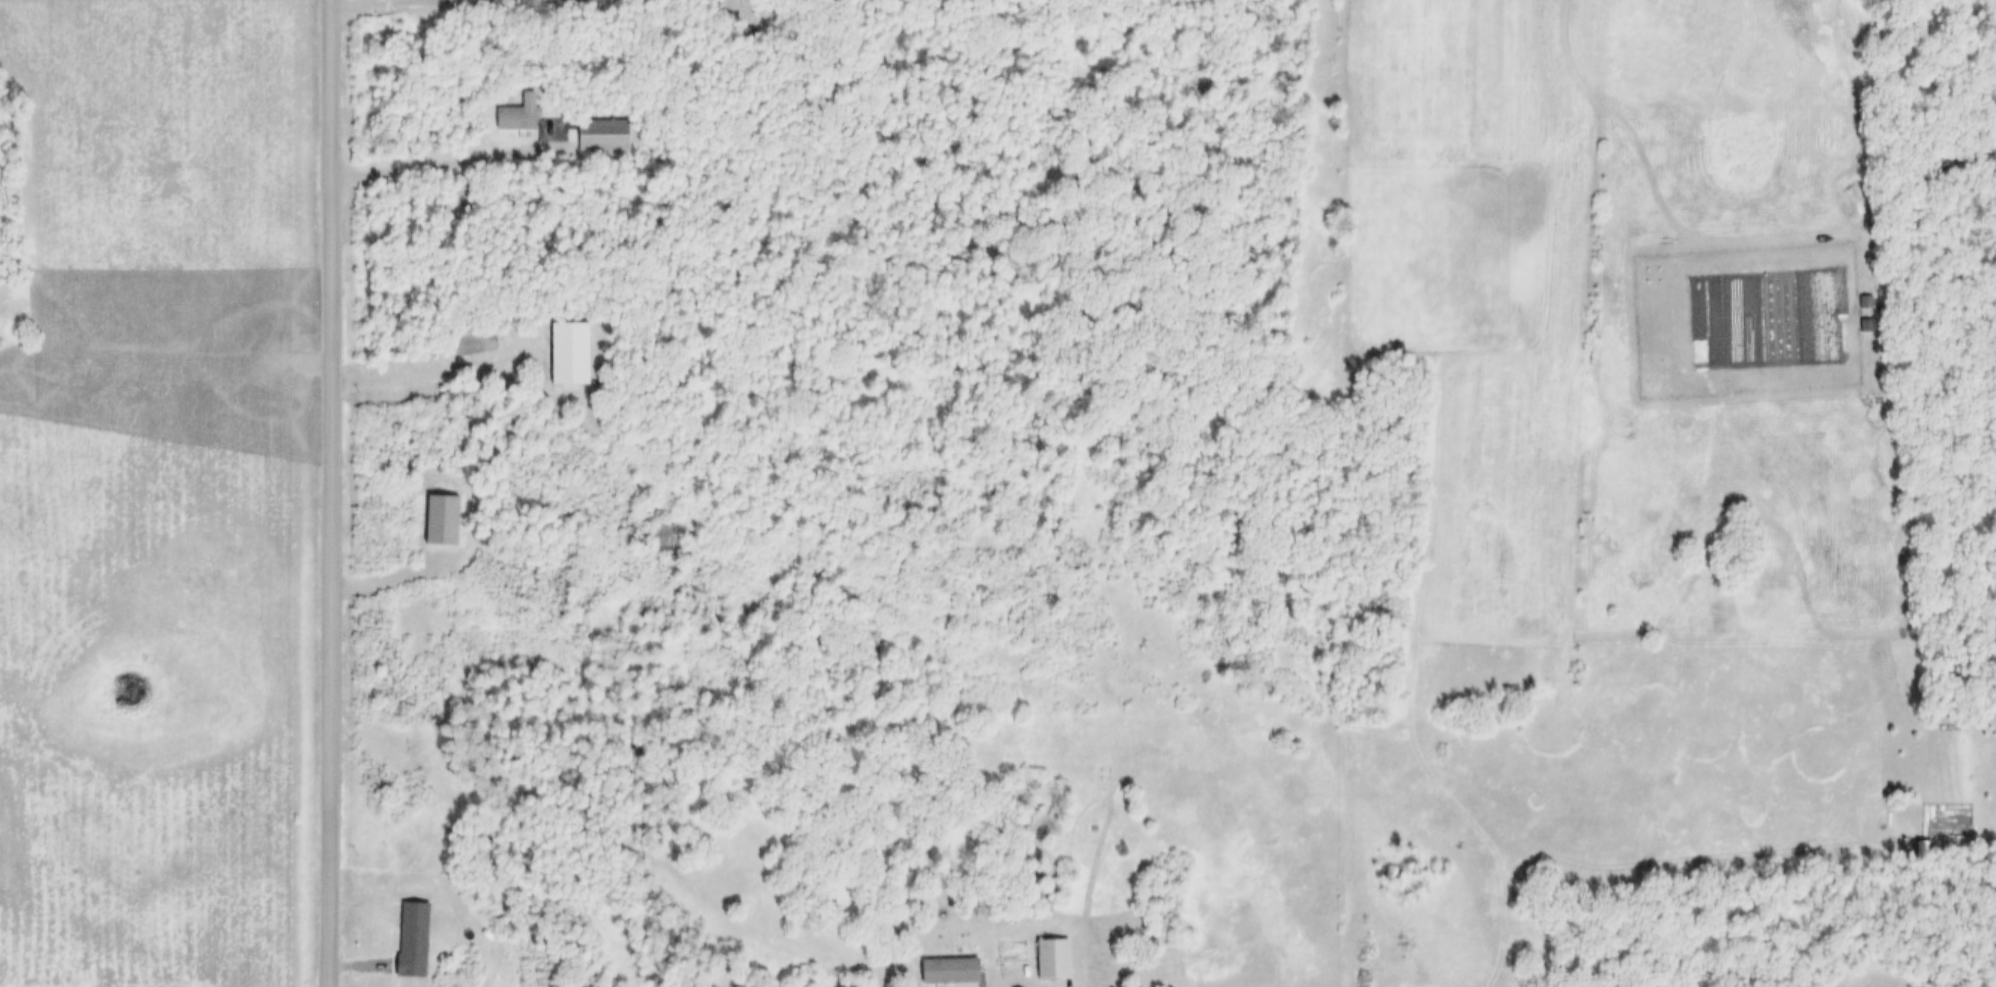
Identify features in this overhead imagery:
building: (736, 15)
building: (513, 116)
building: (595, 133)
building: (1862, 301)
building: (1863, 324)
building: (559, 351)
road: (334, 493)
building: (434, 519)
building: (405, 938)
building: (1044, 956)
building: (942, 970)

